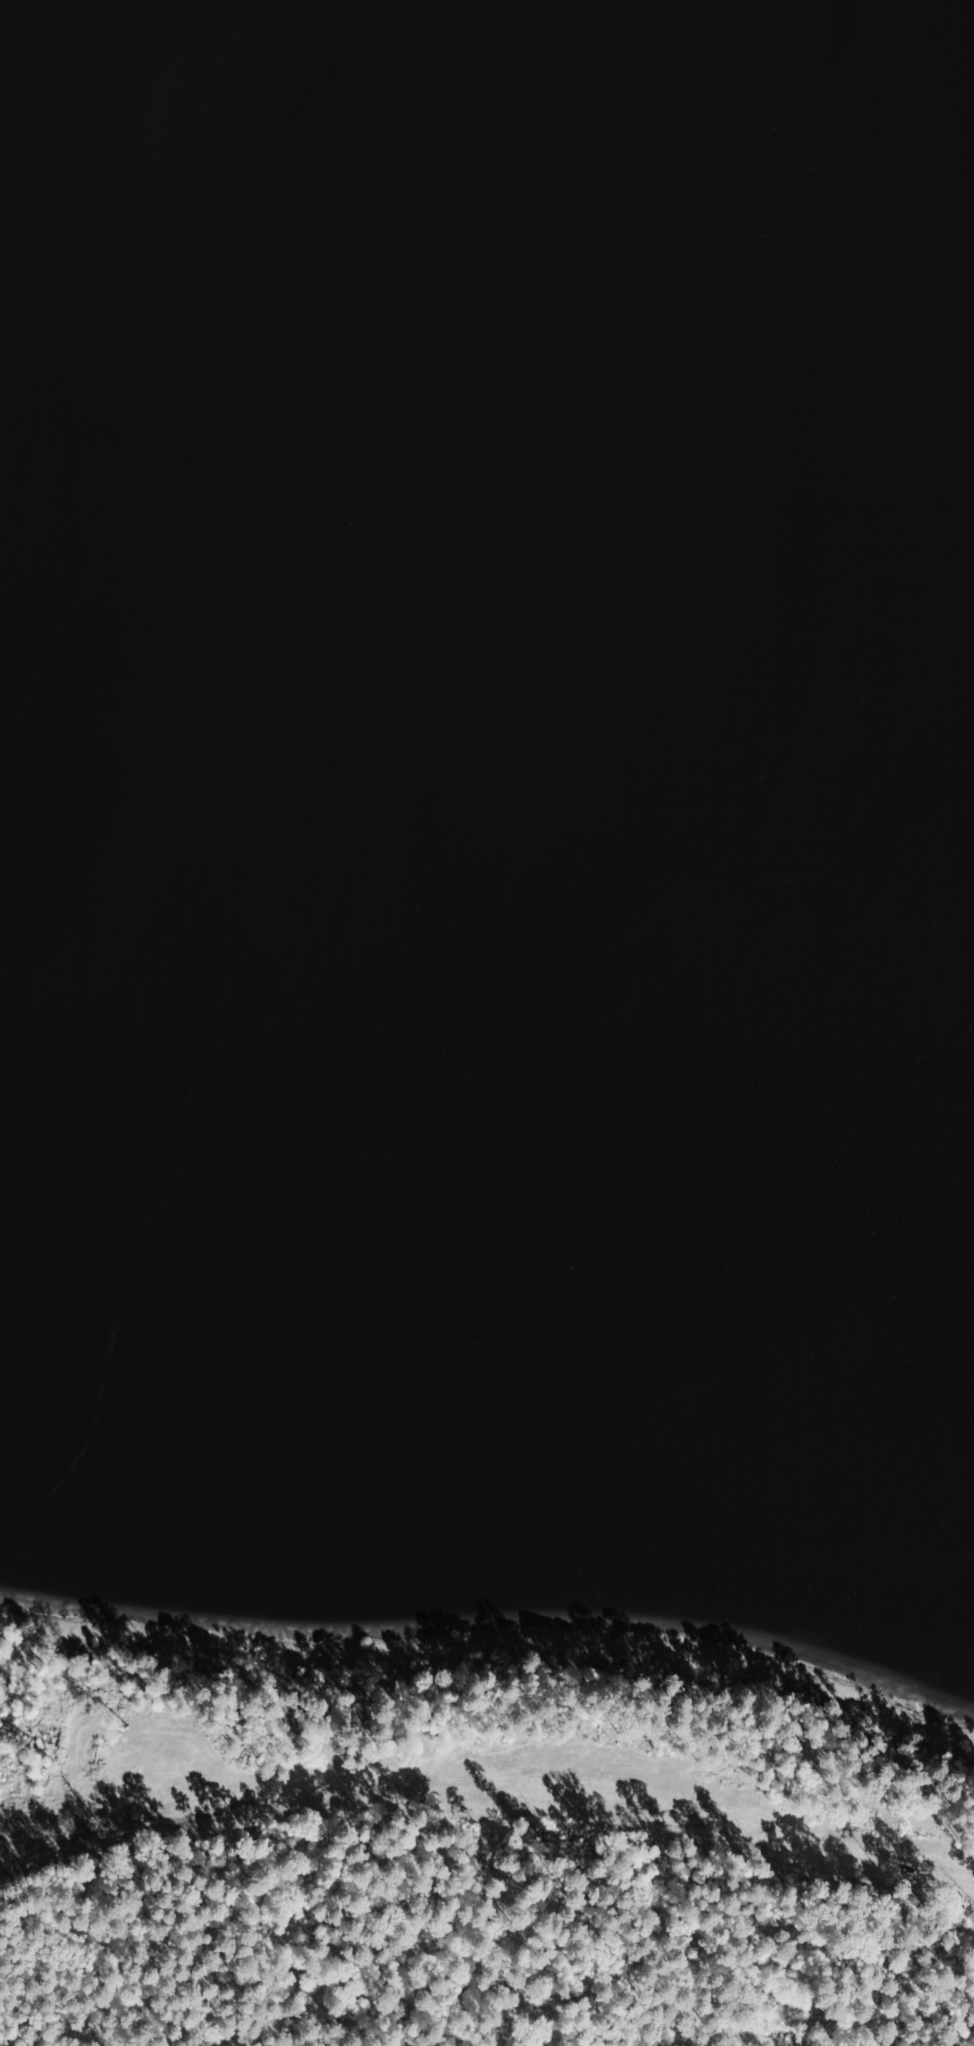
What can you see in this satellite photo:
road: (212, 1777)

